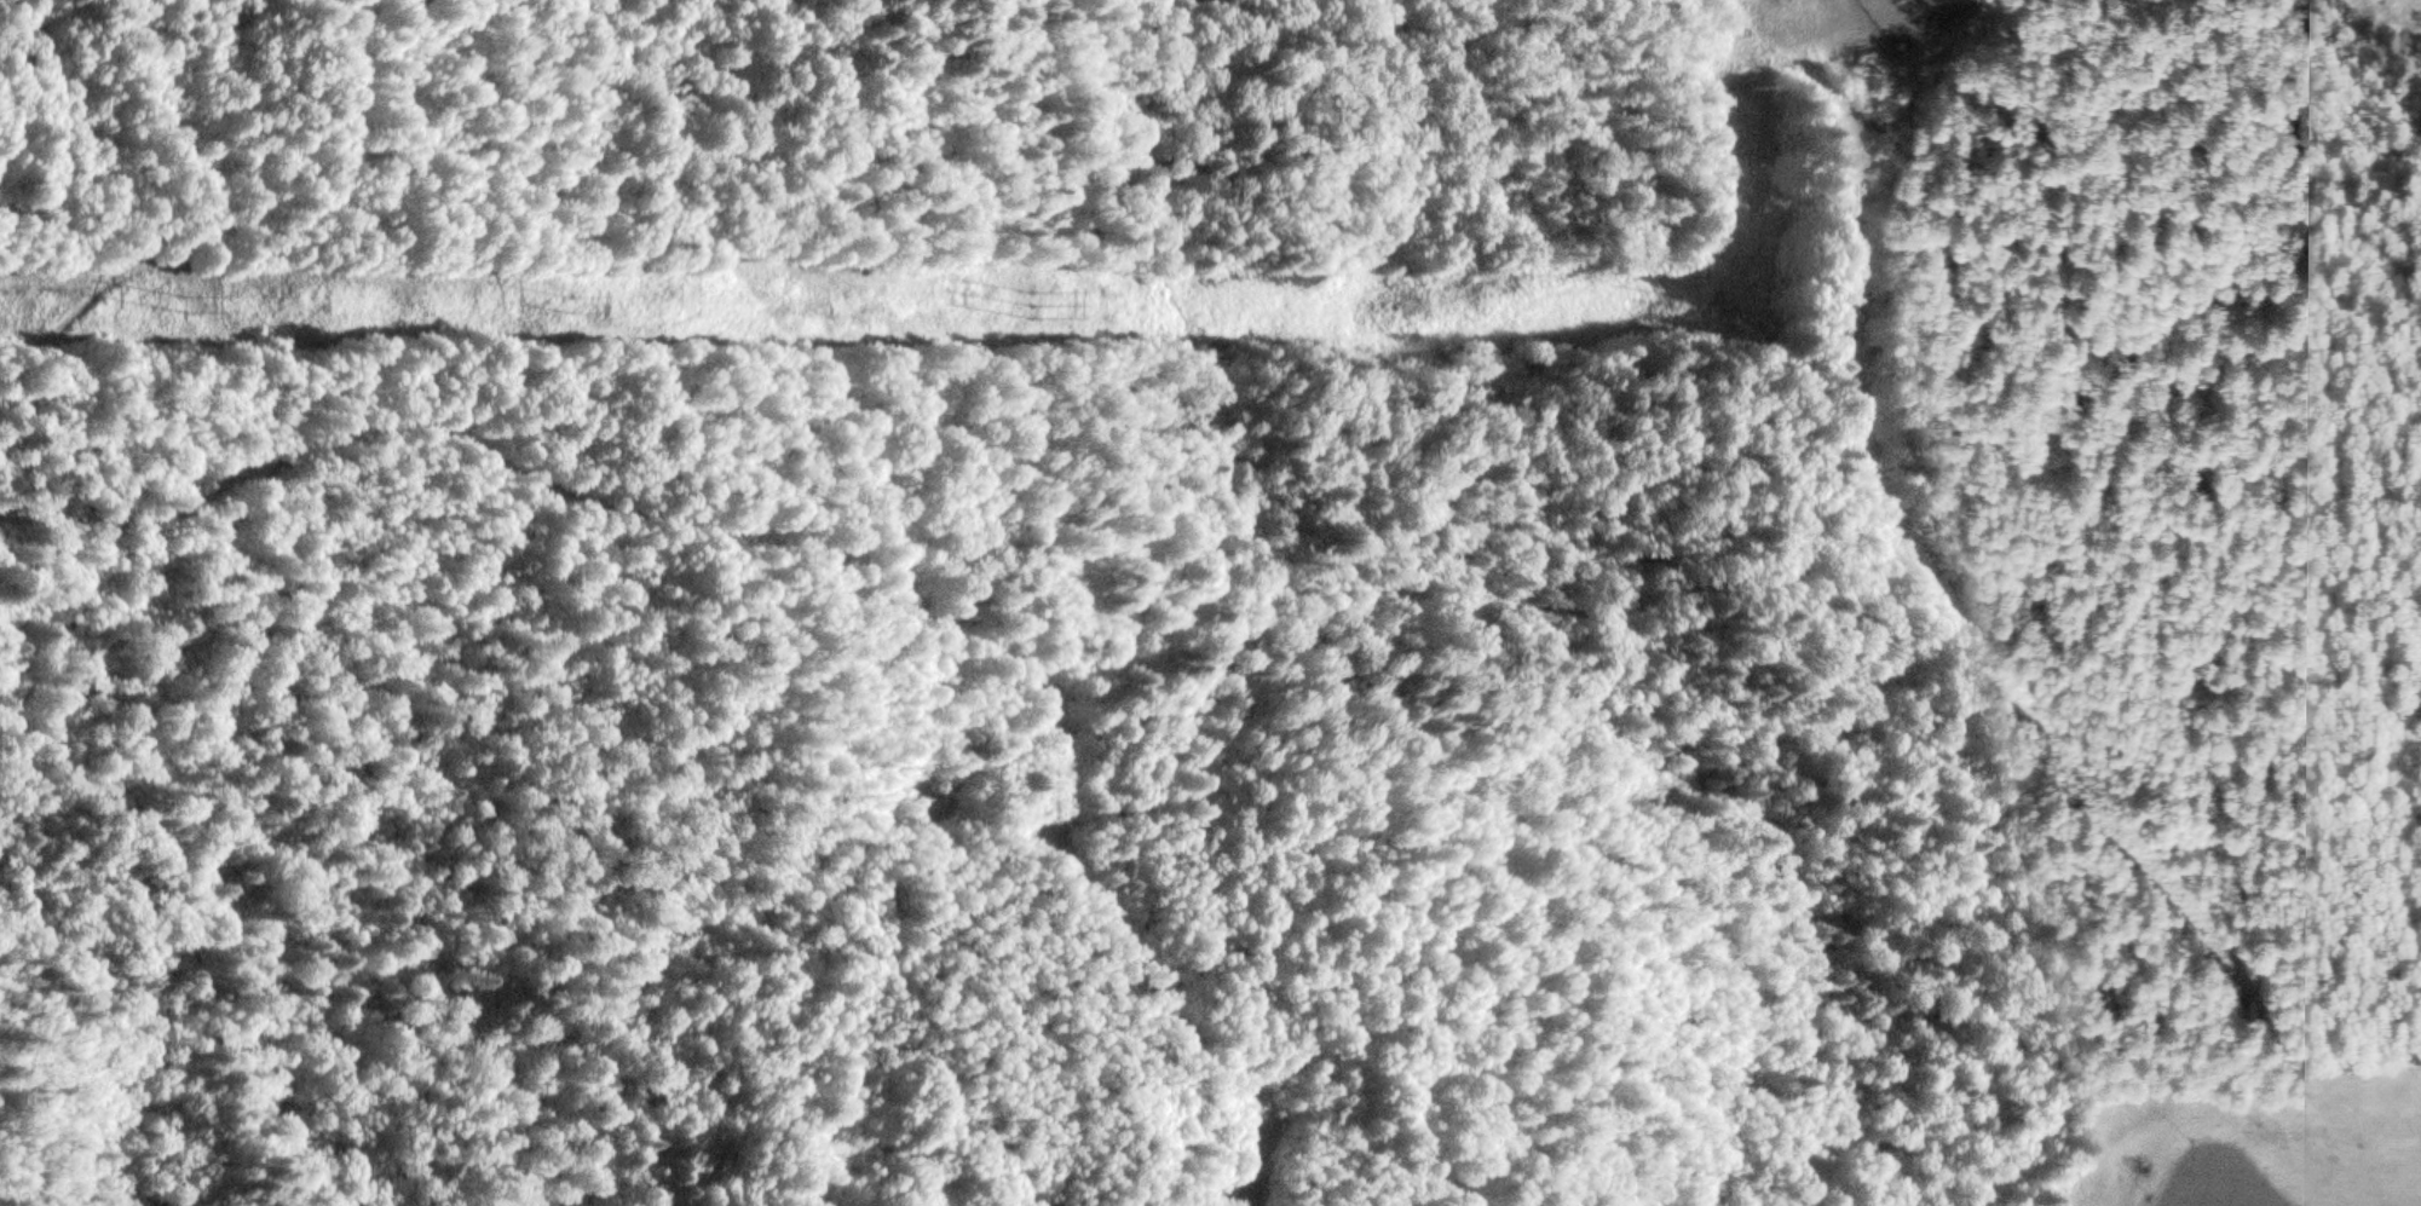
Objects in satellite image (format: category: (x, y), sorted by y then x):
power substation: (1909, 19)
power tower: (1742, 91)
power tower: (189, 307)
power tower: (569, 307)
power tower: (1030, 308)
power tower: (1735, 308)

